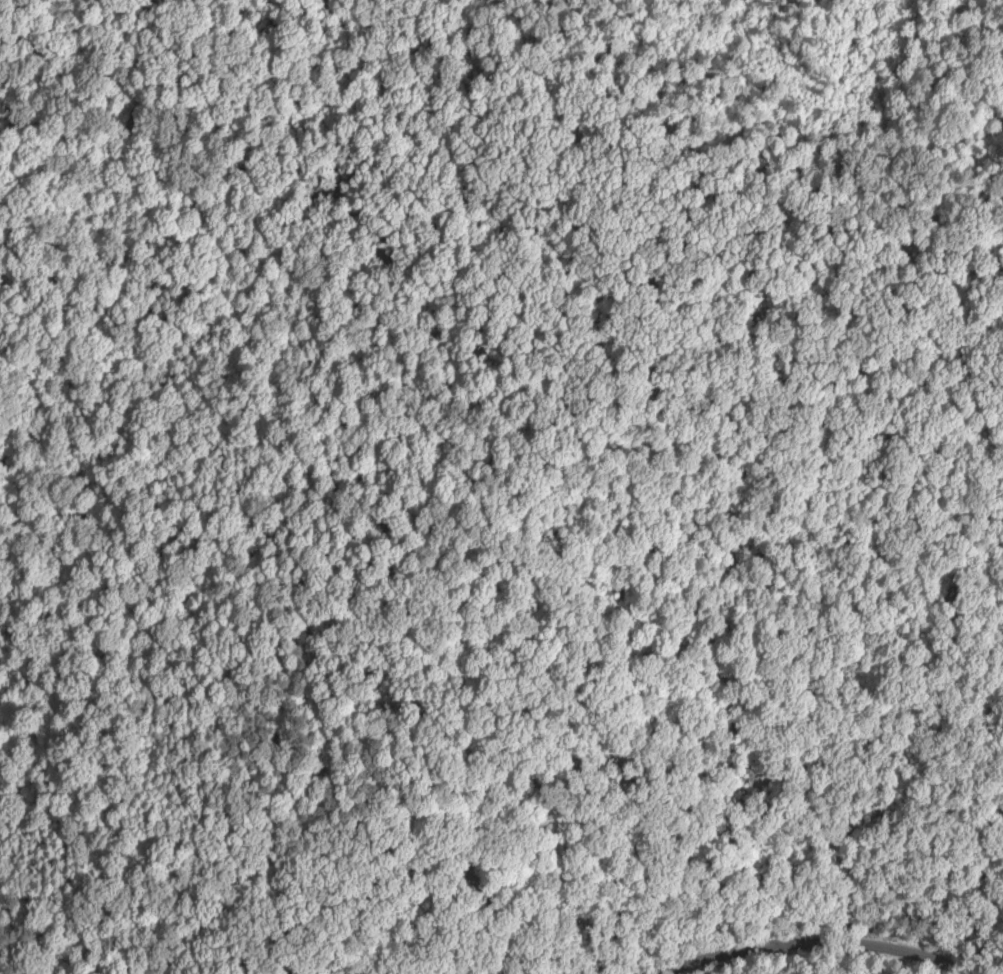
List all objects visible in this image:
road: (816, 940)

